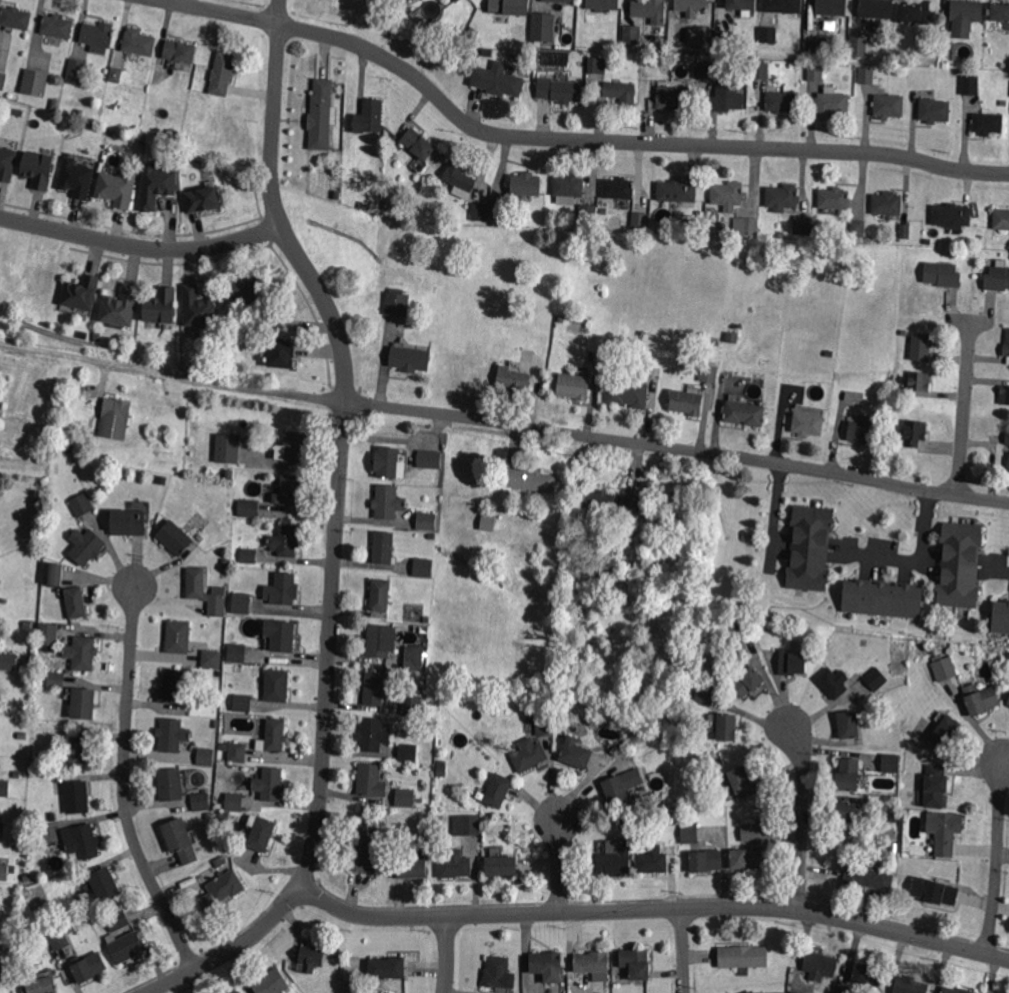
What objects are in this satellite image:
building: (456, 1)
building: (558, 1)
building: (602, 4)
building: (742, 4)
building: (692, 6)
building: (782, 6)
building: (832, 6)
building: (508, 8)
building: (876, 8)
building: (650, 10)
building: (913, 11)
building: (1000, 11)
building: (16, 16)
building: (966, 16)
building: (57, 25)
building: (544, 25)
building: (705, 33)
building: (97, 34)
building: (631, 34)
building: (767, 35)
building: (724, 38)
building: (139, 41)
building: (857, 45)
building: (817, 47)
building: (181, 50)
building: (598, 64)
building: (703, 70)
building: (761, 70)
building: (224, 71)
building: (816, 71)
building: (76, 72)
building: (956, 72)
building: (115, 75)
building: (869, 75)
building: (498, 79)
building: (3, 80)
building: (33, 84)
building: (971, 84)
building: (560, 89)
building: (622, 91)
building: (673, 96)
building: (726, 96)
building: (781, 101)
building: (1004, 101)
building: (53, 104)
building: (832, 104)
building: (890, 105)
building: (935, 109)
building: (19, 112)
building: (322, 114)
building: (370, 115)
building: (989, 122)
building: (168, 132)
building: (175, 133)
road: (573, 138)
building: (419, 143)
building: (7, 164)
building: (38, 169)
building: (77, 178)
building: (460, 179)
building: (527, 183)
building: (570, 184)
building: (157, 187)
building: (118, 188)
building: (618, 189)
building: (678, 191)
building: (337, 193)
building: (730, 193)
building: (783, 196)
building: (835, 197)
building: (203, 201)
building: (888, 202)
building: (367, 205)
building: (501, 209)
building: (481, 211)
building: (953, 214)
building: (587, 215)
building: (1001, 218)
building: (639, 221)
building: (804, 224)
building: (747, 225)
building: (858, 227)
building: (907, 230)
road: (139, 242)
building: (942, 274)
building: (997, 279)
building: (248, 290)
building: (81, 294)
building: (398, 303)
building: (120, 307)
building: (160, 307)
building: (199, 308)
building: (272, 320)
building: (83, 336)
building: (97, 337)
building: (715, 342)
building: (1006, 345)
building: (921, 346)
building: (280, 352)
building: (410, 358)
building: (708, 374)
building: (514, 378)
building: (919, 381)
building: (575, 385)
building: (626, 394)
building: (1004, 395)
building: (688, 401)
road: (963, 403)
building: (746, 412)
building: (115, 419)
road: (504, 422)
building: (808, 423)
building: (863, 429)
building: (914, 433)
road: (343, 435)
building: (1006, 437)
building: (297, 445)
building: (68, 448)
building: (227, 448)
building: (429, 459)
building: (390, 462)
building: (1008, 465)
building: (229, 475)
building: (531, 479)
building: (290, 490)
building: (37, 495)
building: (389, 500)
building: (614, 501)
building: (82, 505)
building: (249, 507)
road: (774, 510)
building: (427, 519)
building: (489, 521)
building: (129, 523)
building: (176, 536)
building: (747, 536)
building: (431, 537)
building: (286, 539)
building: (86, 544)
building: (383, 548)
building: (809, 548)
building: (0, 554)
building: (249, 554)
road: (922, 560)
building: (960, 565)
building: (422, 568)
road: (1006, 568)
building: (595, 571)
building: (53, 574)
building: (282, 589)
building: (203, 592)
building: (381, 594)
building: (883, 600)
building: (77, 601)
building: (242, 601)
building: (1001, 618)
building: (27, 624)
building: (765, 626)
building: (47, 634)
building: (179, 635)
building: (280, 635)
building: (739, 635)
building: (380, 639)
building: (238, 651)
building: (82, 652)
building: (413, 658)
building: (211, 659)
building: (9, 660)
building: (792, 661)
building: (943, 665)
building: (876, 677)
building: (56, 680)
building: (749, 681)
building: (834, 681)
building: (278, 684)
building: (172, 685)
building: (375, 687)
building: (707, 693)
building: (983, 699)
building: (1008, 700)
building: (243, 701)
building: (84, 702)
building: (411, 706)
building: (494, 712)
building: (849, 724)
building: (545, 725)
building: (728, 725)
building: (946, 731)
building: (172, 733)
building: (276, 733)
building: (374, 733)
building: (22, 735)
building: (80, 750)
building: (238, 750)
building: (409, 751)
building: (529, 753)
building: (577, 754)
building: (205, 757)
building: (892, 762)
building: (441, 768)
building: (848, 774)
building: (370, 778)
building: (744, 781)
building: (271, 782)
road: (125, 784)
building: (170, 784)
building: (936, 784)
building: (5, 786)
building: (622, 786)
building: (499, 789)
building: (77, 796)
building: (405, 798)
building: (201, 800)
building: (235, 800)
building: (53, 815)
road: (803, 816)
building: (847, 816)
building: (486, 819)
building: (620, 819)
building: (466, 825)
building: (2, 830)
building: (946, 830)
building: (263, 832)
building: (690, 832)
building: (753, 832)
building: (179, 840)
building: (81, 841)
building: (362, 846)
road: (998, 856)
building: (748, 857)
building: (707, 859)
building: (615, 861)
building: (653, 861)
building: (455, 863)
building: (503, 864)
road: (559, 865)
building: (410, 866)
building: (6, 871)
building: (869, 876)
building: (105, 882)
building: (223, 888)
building: (936, 890)
building: (36, 905)
road: (652, 909)
building: (117, 921)
building: (72, 927)
building: (59, 940)
building: (125, 946)
road: (232, 949)
road: (684, 950)
road: (448, 954)
building: (744, 955)
building: (312, 957)
building: (593, 960)
building: (546, 961)
building: (820, 964)
building: (639, 965)
building: (89, 966)
building: (388, 966)
building: (498, 971)
building: (9, 972)
building: (868, 973)
building: (272, 981)
building: (41, 983)
building: (911, 984)
building: (352, 989)
building: (843, 989)
building: (958, 990)
building: (238, 991)
building: (749, 991)
building: (794, 992)
building: (990, 992)
building: (1002, 992)

